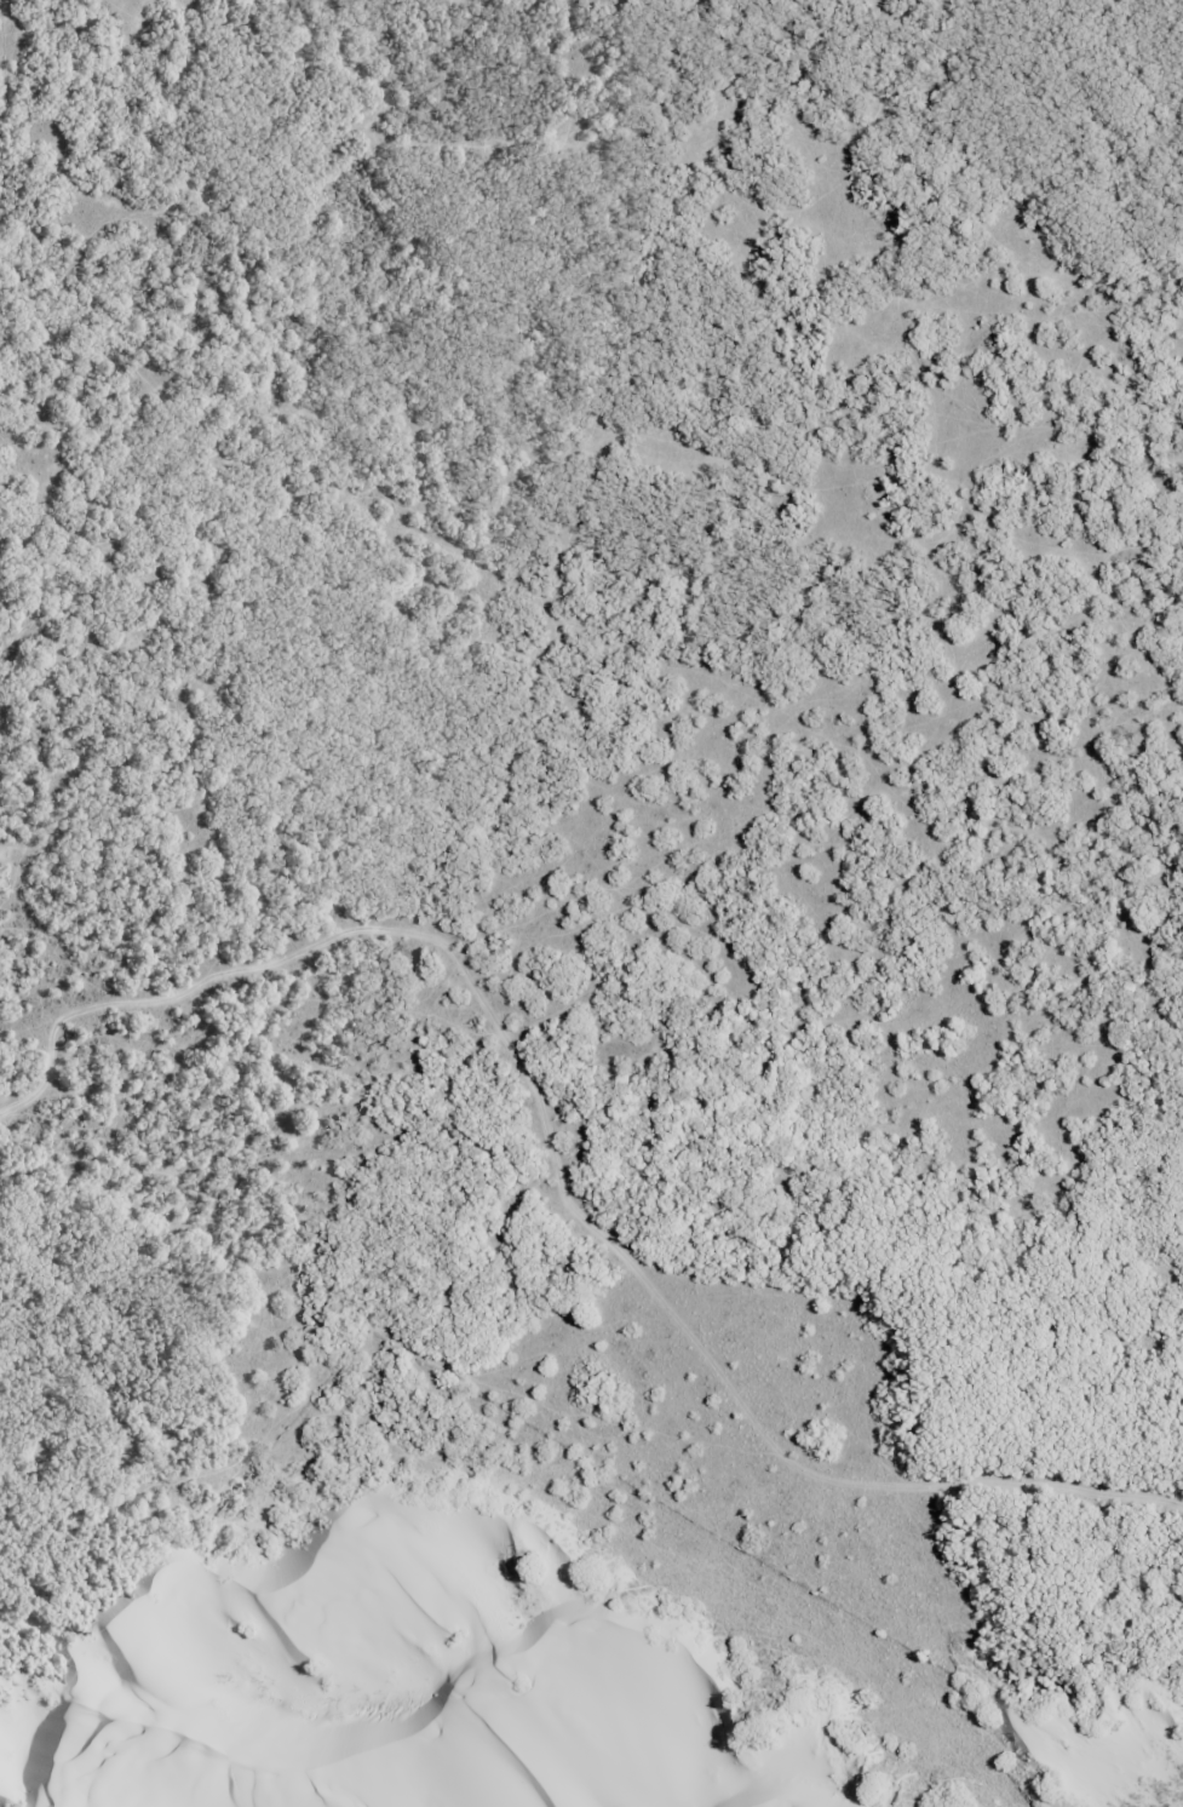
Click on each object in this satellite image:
road: (503, 1755)

